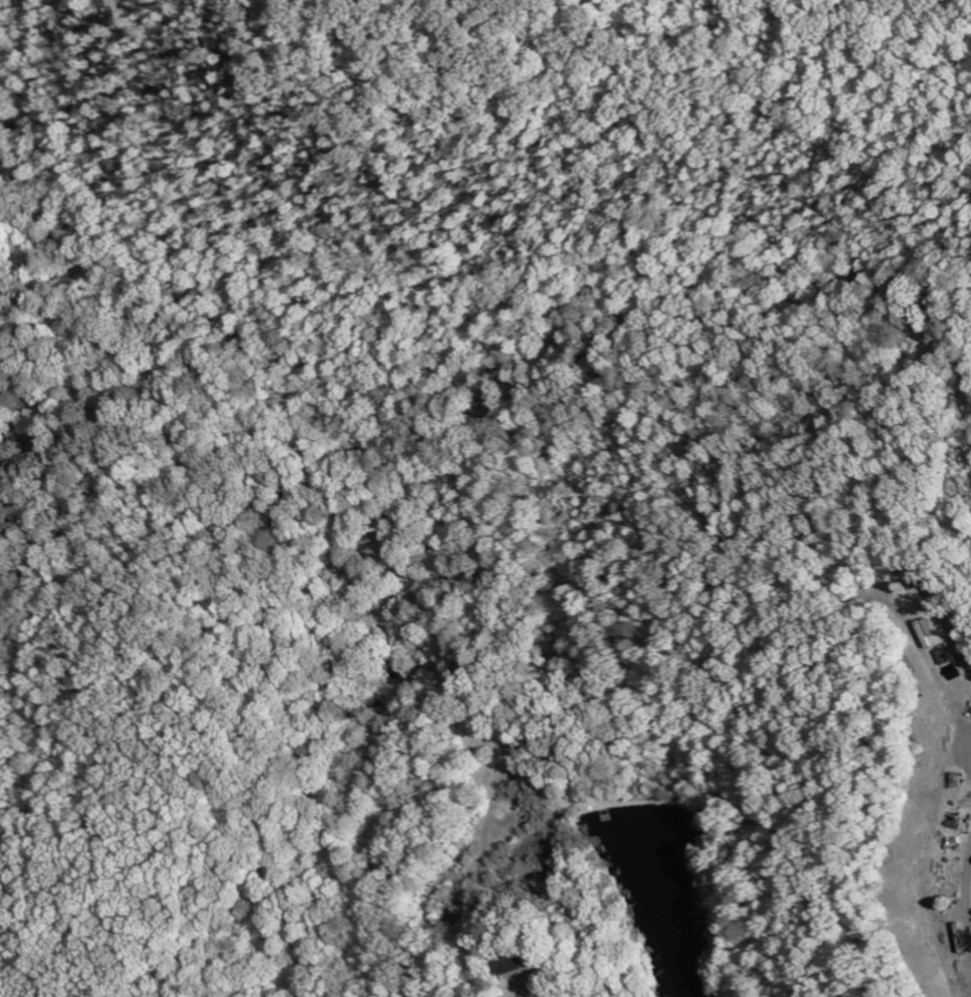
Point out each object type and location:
road: (968, 892)

